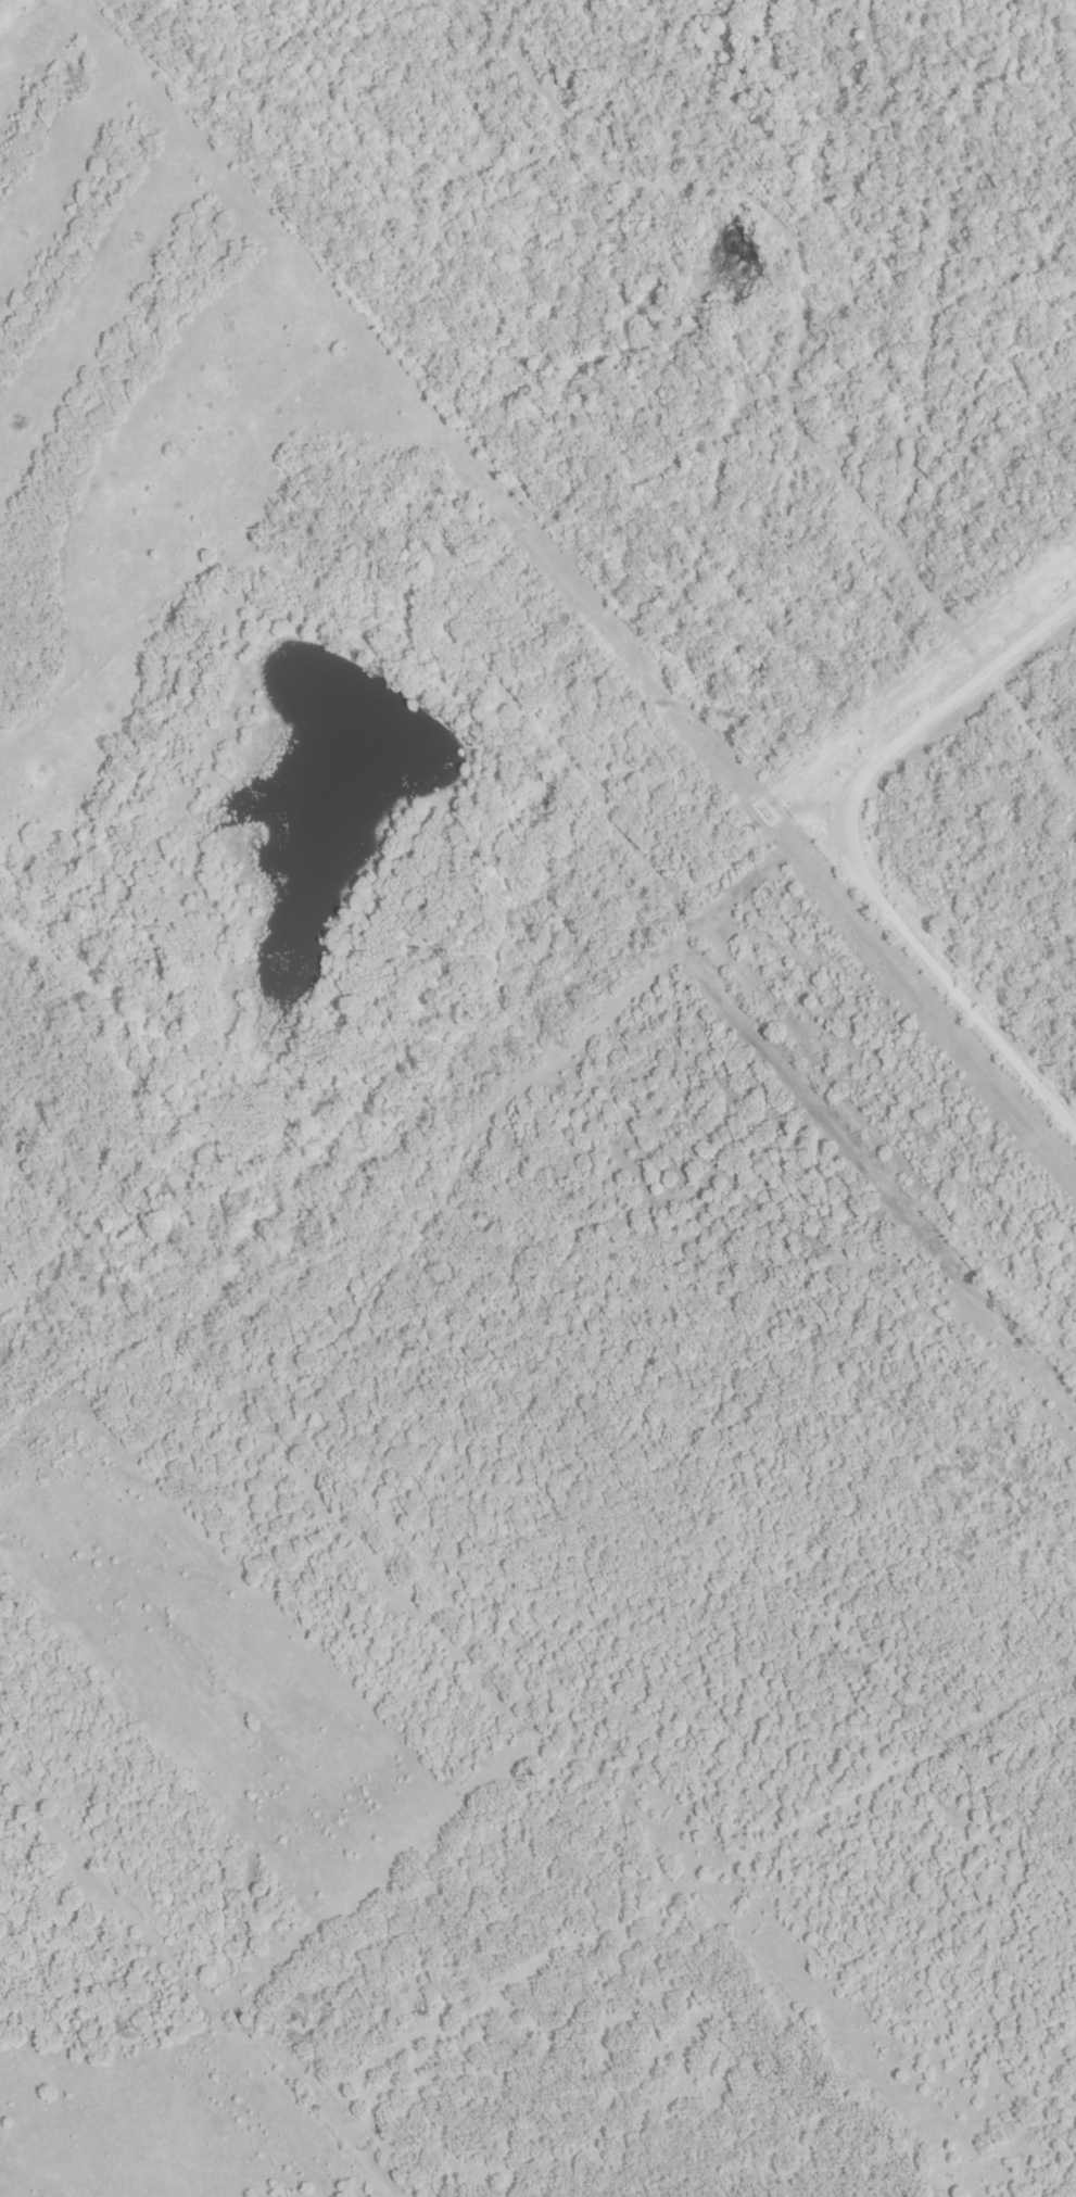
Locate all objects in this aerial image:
road: (846, 855)

